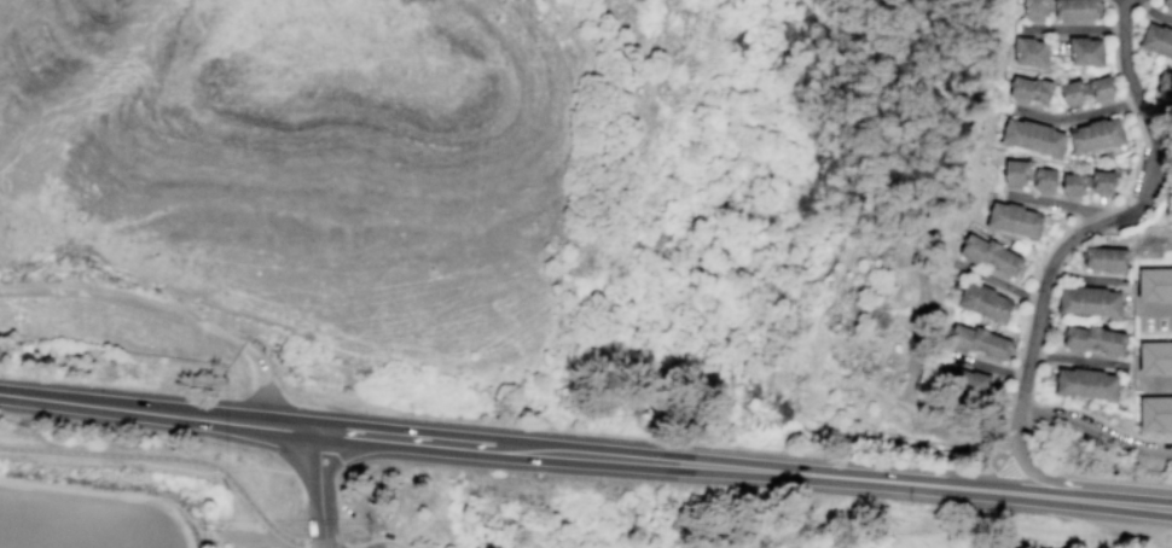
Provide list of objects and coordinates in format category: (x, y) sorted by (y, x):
building: (1166, 2)
building: (1034, 8)
building: (1077, 10)
road: (1154, 11)
road: (1100, 25)
building: (1156, 43)
building: (1031, 51)
building: (1085, 51)
building: (1100, 87)
building: (1164, 88)
building: (1029, 89)
building: (1072, 91)
road: (1077, 112)
building: (1096, 135)
building: (1033, 136)
building: (1015, 173)
building: (1044, 179)
building: (1102, 182)
building: (1073, 183)
road: (1055, 199)
road: (1118, 214)
building: (1014, 218)
building: (990, 255)
building: (1103, 256)
road: (1084, 275)
road: (996, 279)
building: (1154, 284)
road: (122, 295)
building: (1090, 301)
building: (985, 302)
road: (1156, 307)
parking lot: (1153, 315)
building: (1093, 339)
building: (979, 340)
road: (817, 349)
road: (1038, 355)
building: (1155, 356)
road: (1077, 358)
road: (987, 363)
road: (265, 375)
road: (779, 378)
road: (1154, 380)
building: (1086, 381)
building: (968, 383)
road: (52, 403)
road: (1085, 412)
building: (1155, 412)
road: (209, 416)
road: (1014, 424)
road: (1095, 425)
road: (429, 438)
road: (175, 457)
road: (661, 457)
road: (987, 468)
road: (1081, 482)
road: (320, 486)
road: (974, 486)
road: (109, 496)
crop: (91, 517)
power tower: (371, 519)
road: (256, 542)
road: (347, 547)

